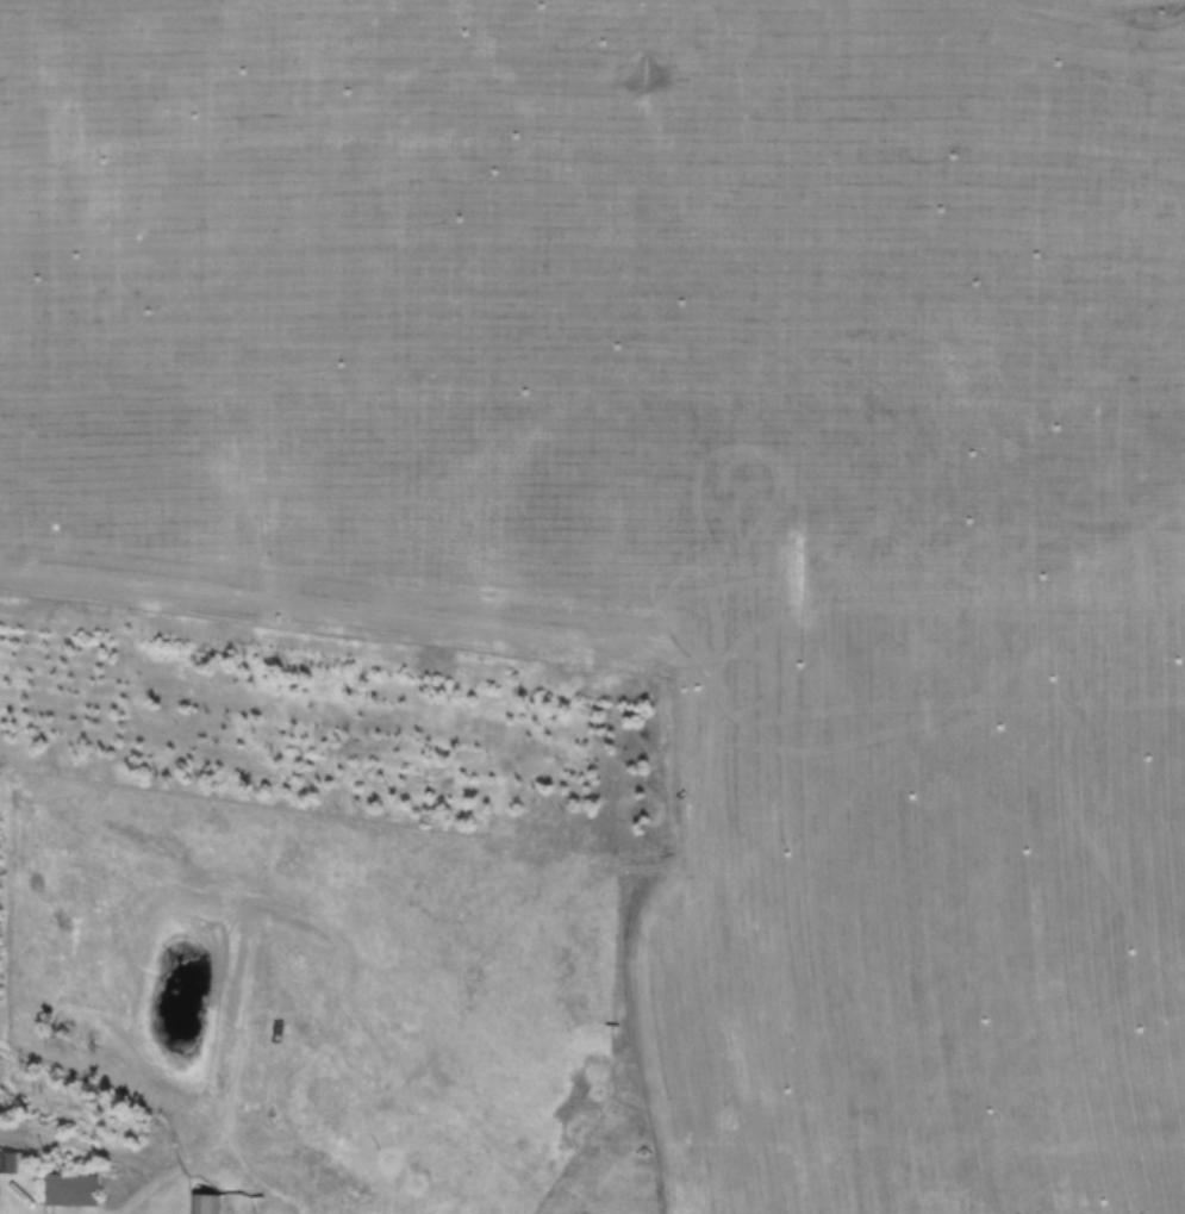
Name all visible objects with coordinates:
building: (8, 1163)
building: (62, 1182)
building: (205, 1203)

